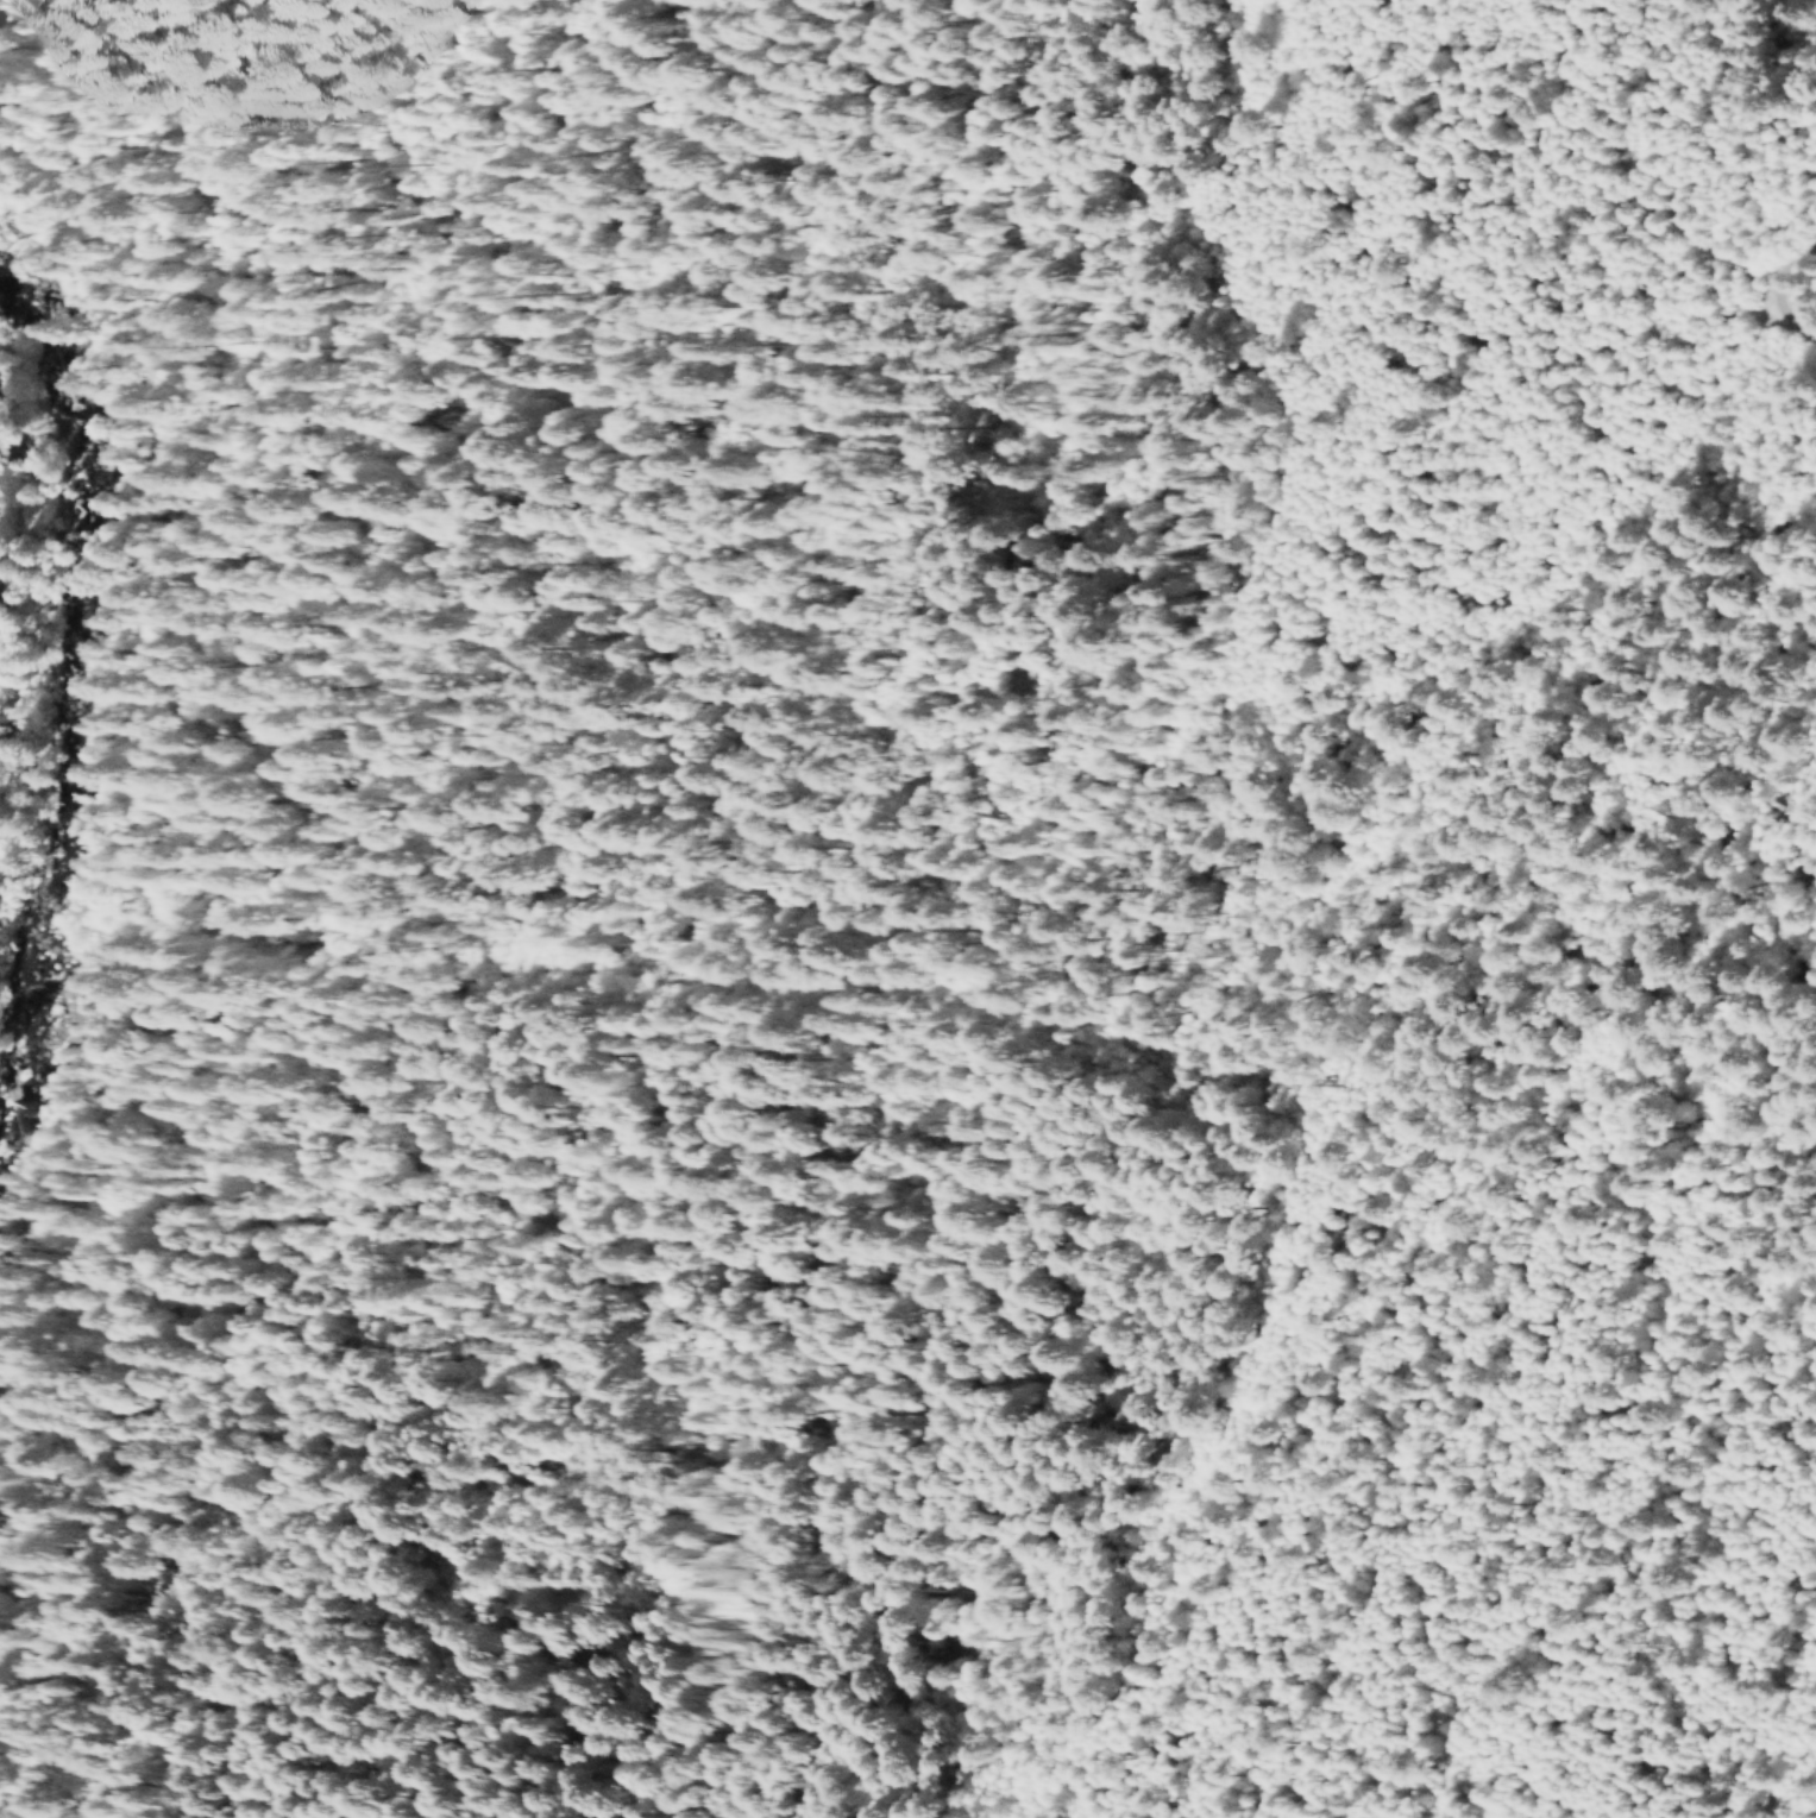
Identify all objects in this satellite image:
road: (1777, 287)

